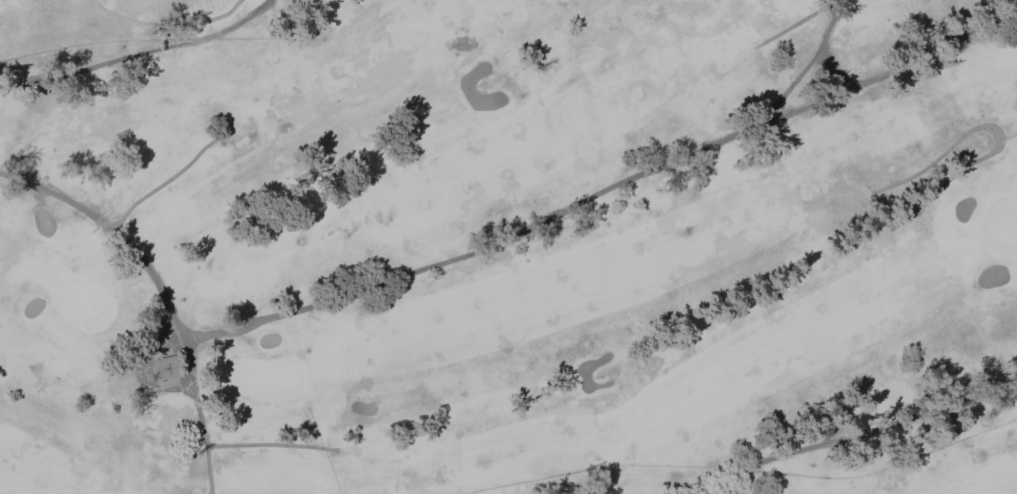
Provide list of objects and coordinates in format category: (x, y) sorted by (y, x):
road: (799, 20)
road: (201, 21)
road: (820, 46)
road: (138, 53)
road: (789, 85)
road: (998, 132)
road: (162, 181)
park: (1000, 224)
road: (489, 245)
park: (508, 247)
park: (508, 247)
park: (80, 301)
building: (168, 367)
road: (141, 372)
building: (155, 376)
park: (268, 376)
road: (199, 416)
road: (841, 435)
road: (270, 443)

